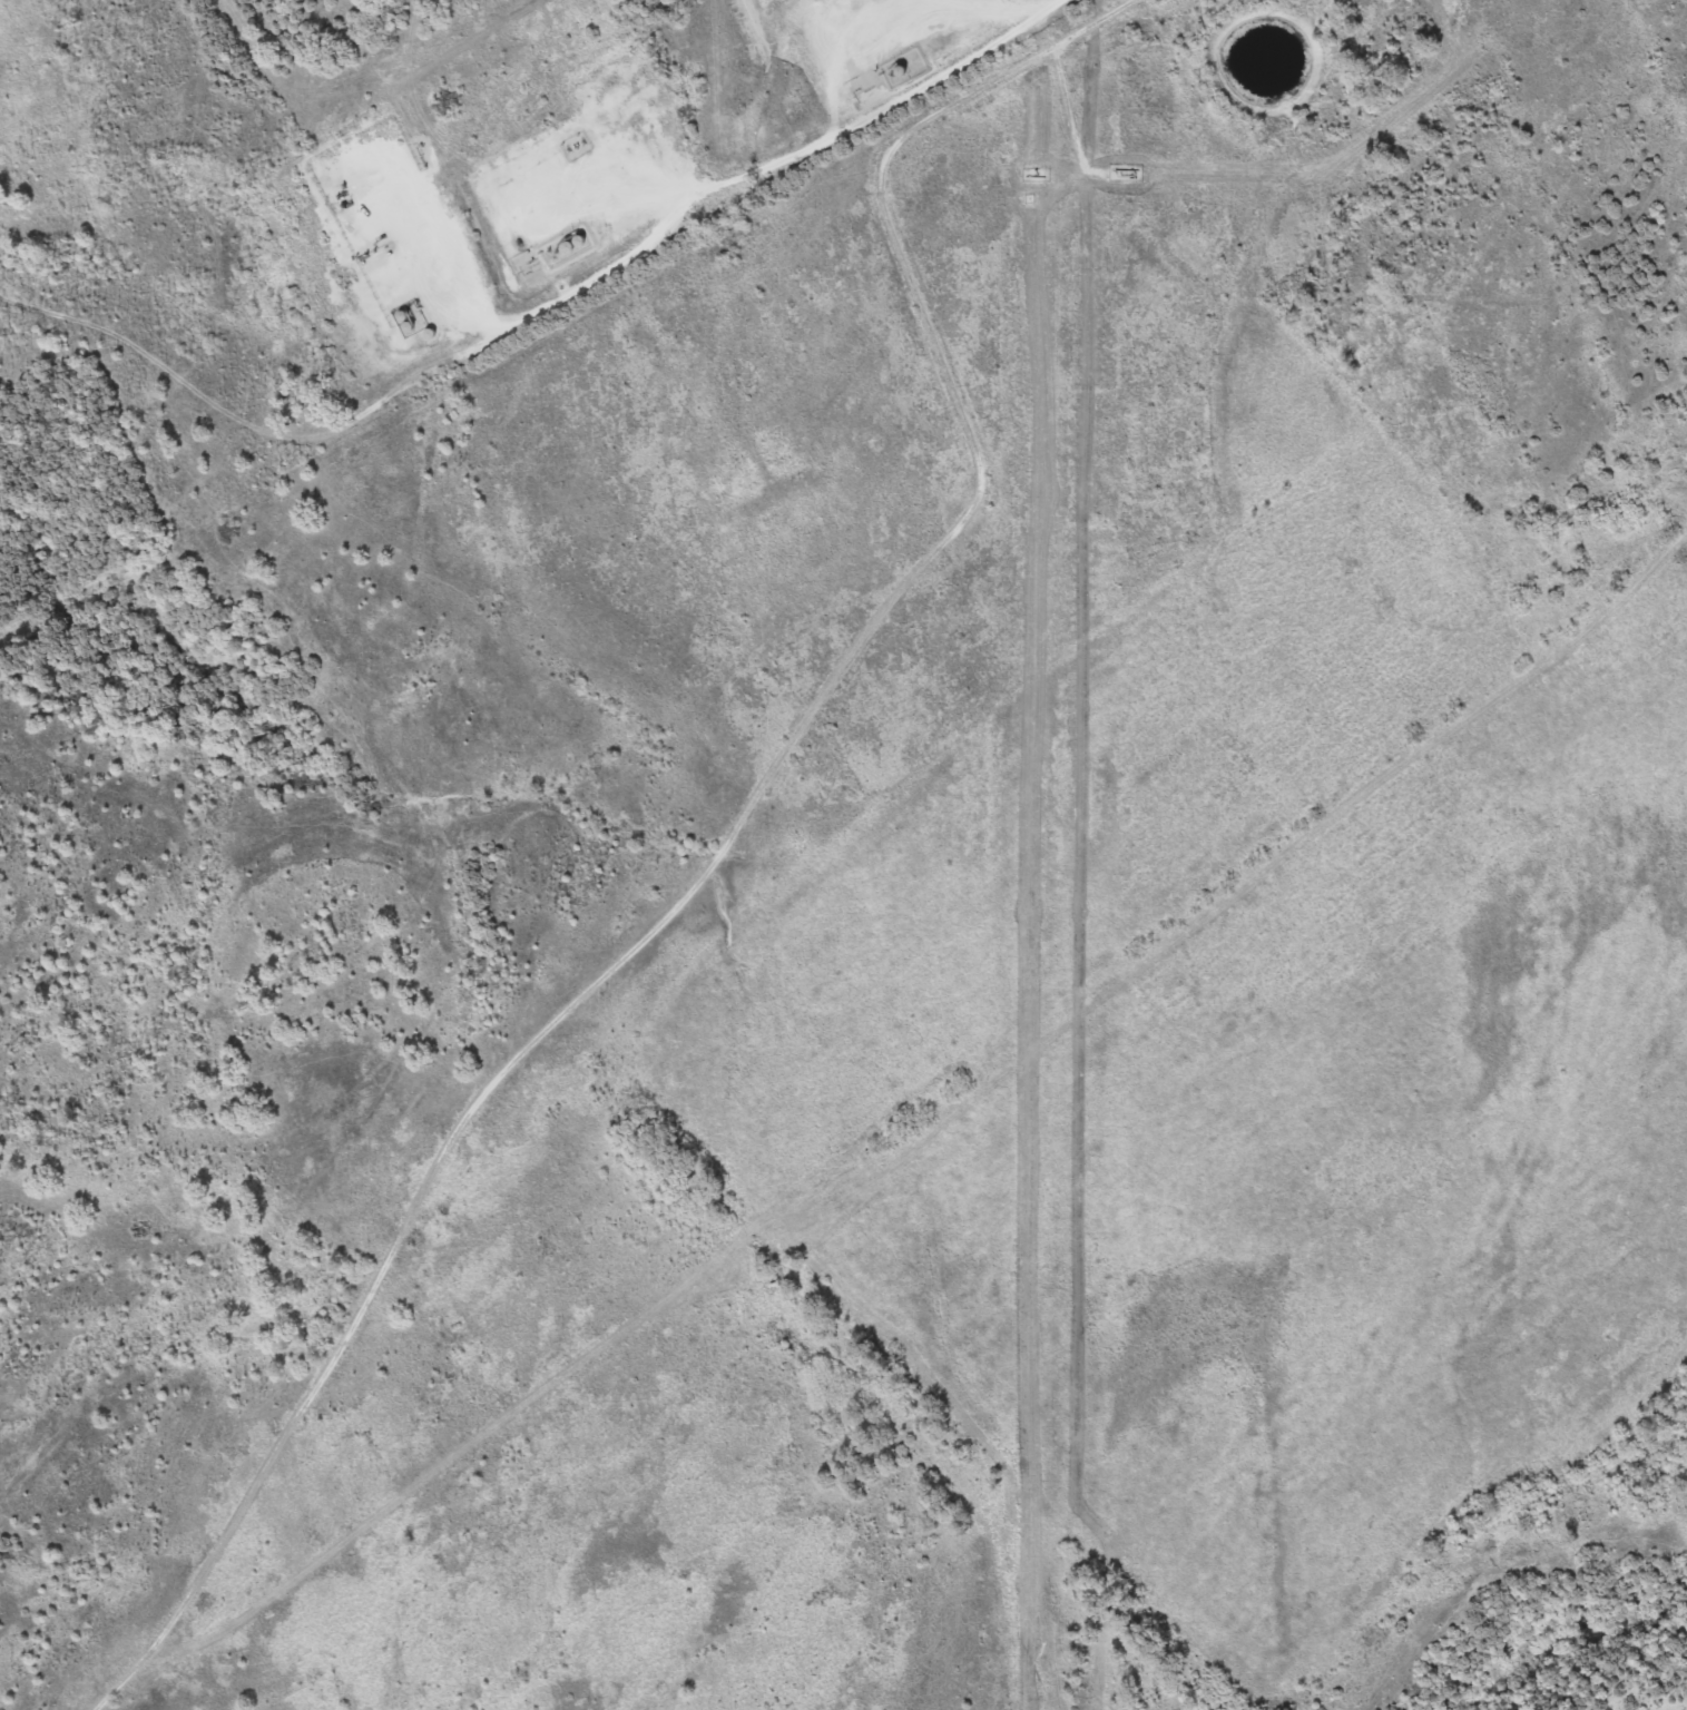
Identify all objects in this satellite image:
road: (1059, 72)

